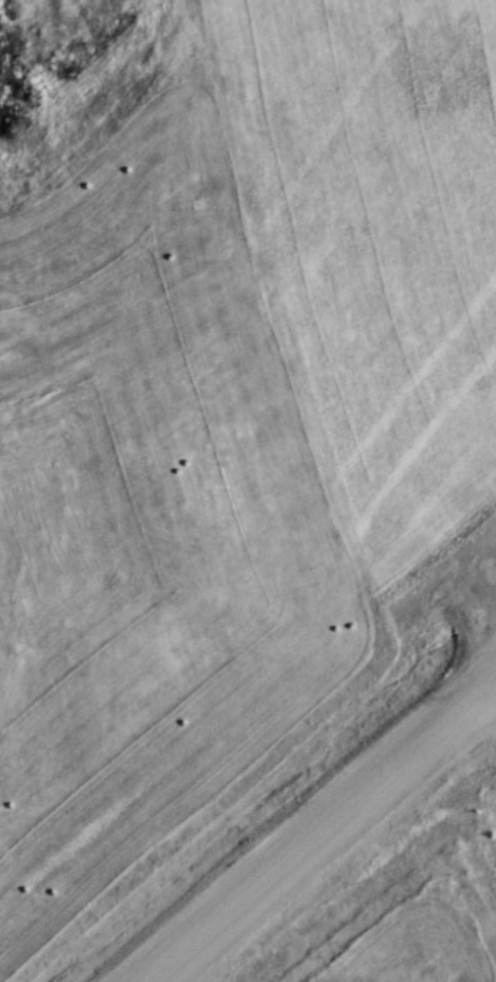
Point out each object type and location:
quarry: (297, 816)

